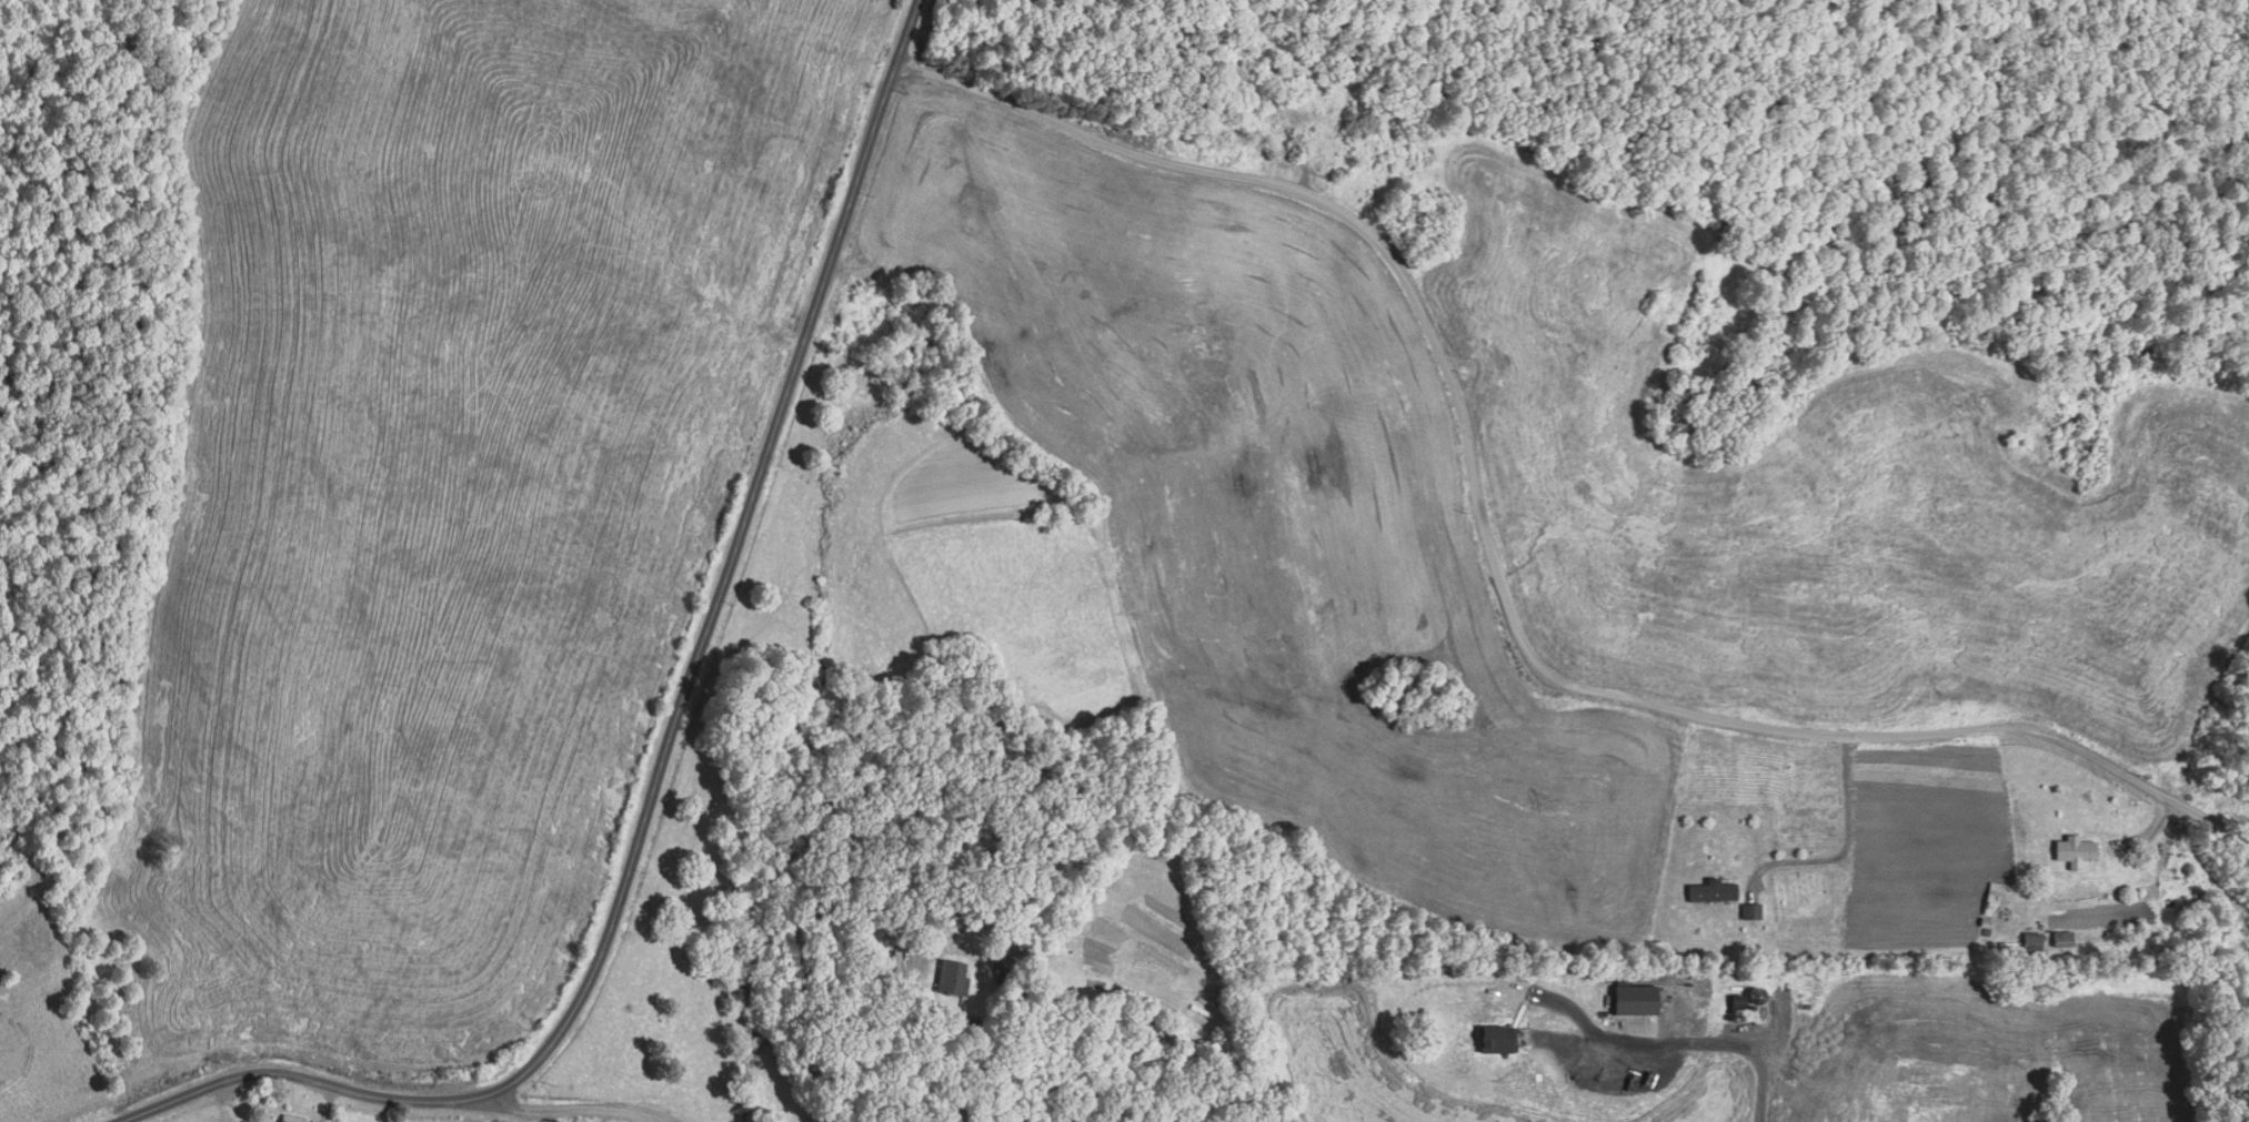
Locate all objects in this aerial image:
road: (1490, 593)
road: (683, 700)
road: (1833, 848)
building: (2079, 853)
building: (1715, 892)
building: (1995, 900)
building: (1753, 911)
building: (2036, 939)
building: (2065, 939)
building: (2011, 949)
building: (956, 978)
road: (1690, 1035)
building: (1510, 1039)
road: (906, 1045)
road: (513, 1112)
building: (291, 1119)

